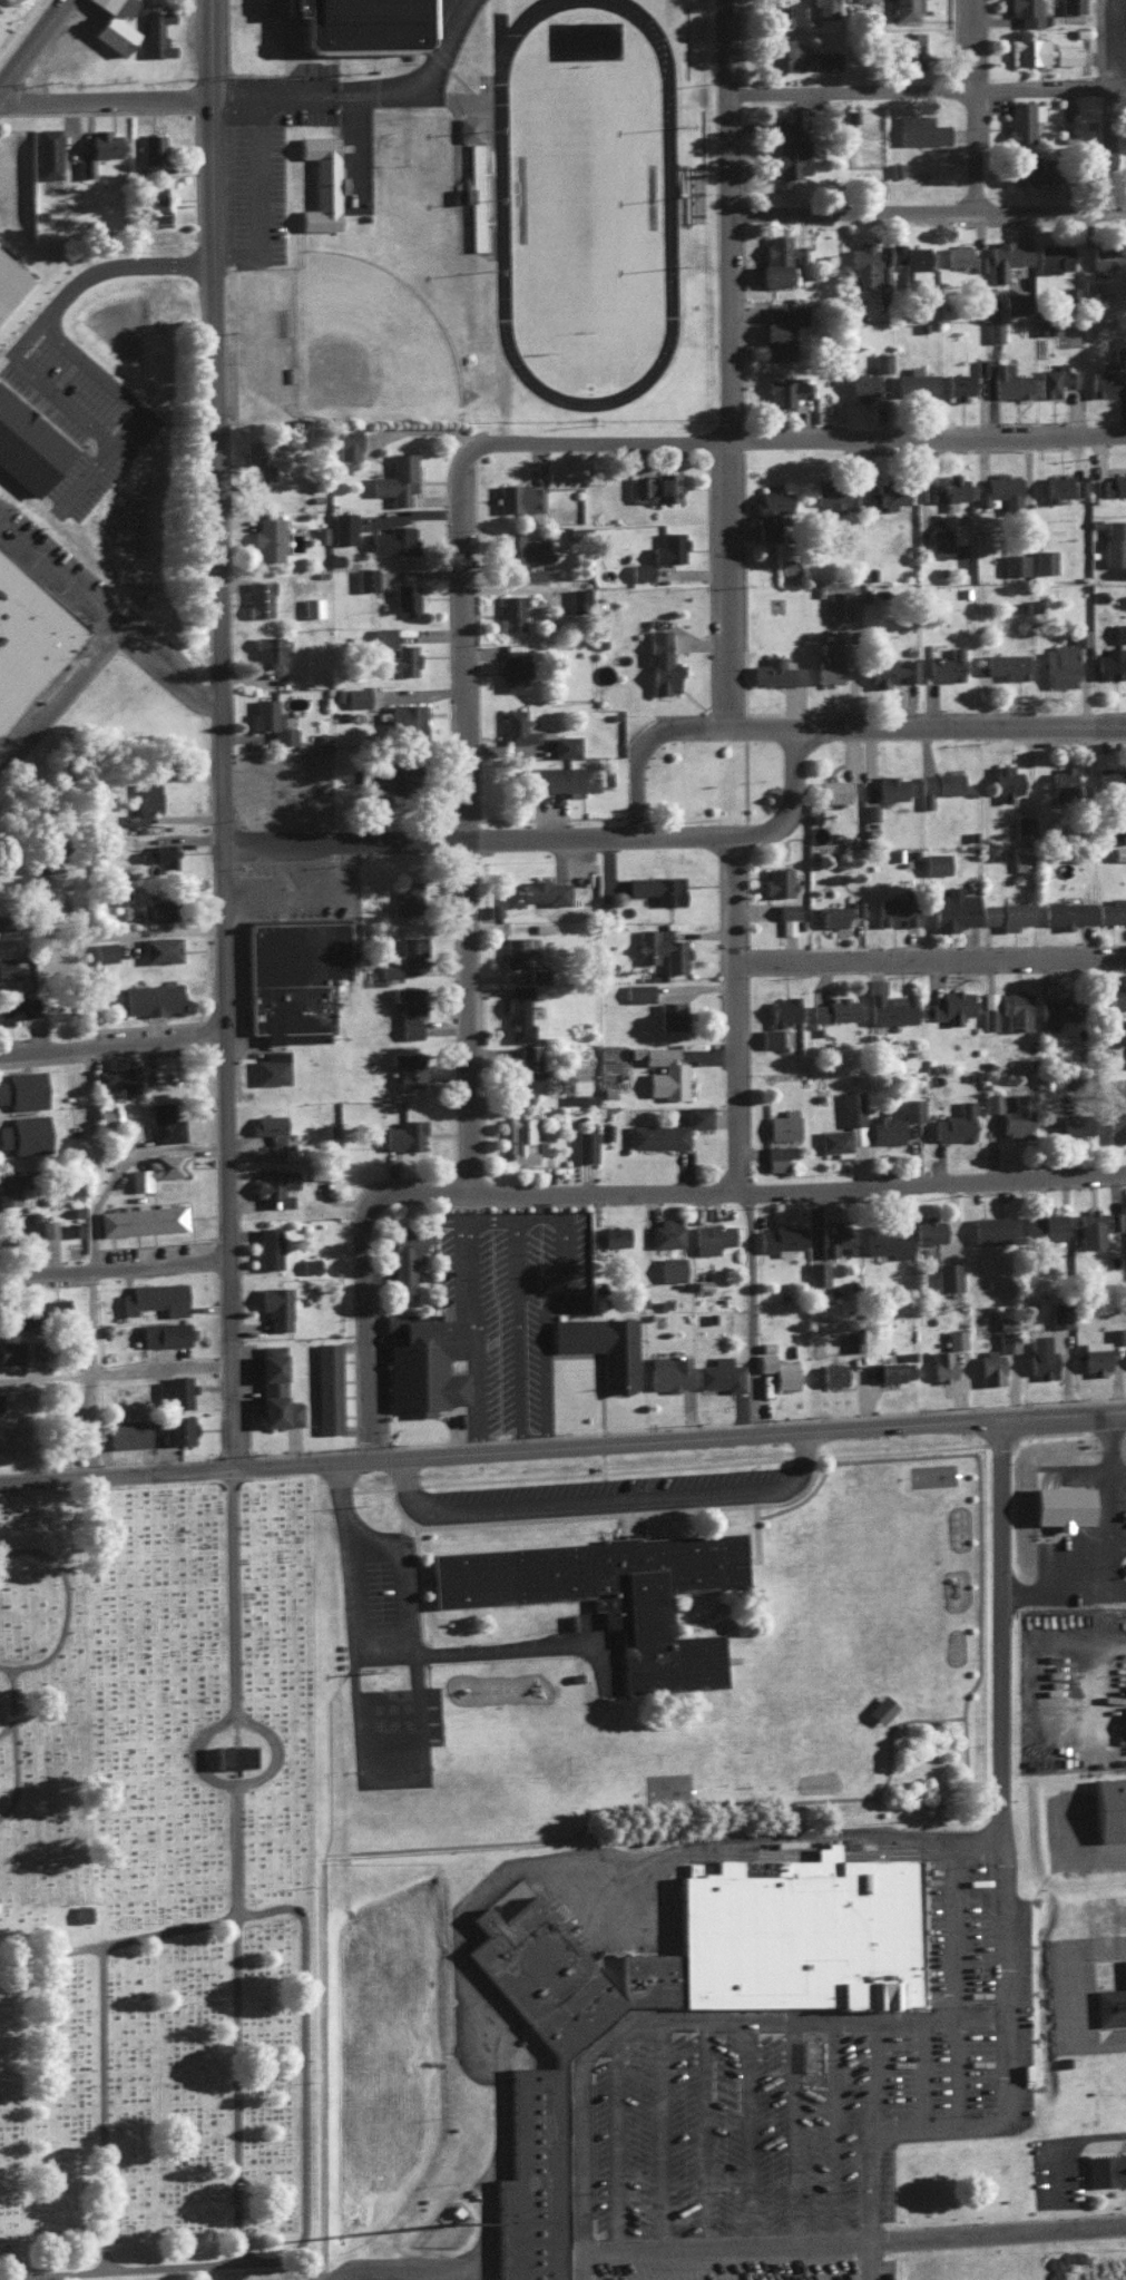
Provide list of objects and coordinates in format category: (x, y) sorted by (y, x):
building: (1070, 6)
building: (824, 8)
building: (905, 9)
building: (784, 11)
building: (1029, 13)
building: (112, 25)
building: (358, 25)
park: (19, 26)
building: (156, 33)
road: (30, 41)
building: (909, 47)
road: (1097, 47)
building: (1029, 48)
building: (785, 52)
building: (1066, 53)
building: (820, 57)
road: (373, 96)
road: (932, 96)
road: (105, 104)
road: (987, 107)
building: (1021, 119)
building: (921, 126)
building: (467, 127)
building: (102, 143)
building: (150, 148)
building: (787, 150)
building: (1099, 150)
building: (47, 153)
building: (85, 167)
building: (1029, 170)
building: (320, 183)
building: (476, 194)
track: (501, 197)
park: (586, 197)
road: (256, 198)
building: (154, 204)
road: (933, 215)
building: (908, 253)
building: (957, 255)
building: (1055, 255)
building: (1006, 257)
building: (1103, 257)
building: (780, 260)
building: (979, 262)
road: (116, 264)
building: (862, 264)
building: (9, 282)
building: (1065, 294)
building: (1012, 302)
building: (781, 326)
building: (993, 331)
park: (380, 343)
building: (881, 360)
road: (742, 364)
building: (980, 364)
building: (1101, 379)
building: (1064, 382)
building: (861, 383)
building: (958, 383)
building: (1007, 384)
building: (917, 385)
building: (789, 391)
road: (110, 438)
road: (849, 441)
building: (347, 442)
building: (27, 443)
building: (253, 462)
building: (395, 474)
building: (1107, 482)
building: (656, 485)
building: (941, 485)
building: (998, 485)
building: (1056, 485)
building: (1078, 486)
building: (831, 493)
building: (883, 493)
building: (520, 496)
building: (773, 510)
building: (341, 526)
building: (319, 532)
building: (266, 536)
building: (938, 537)
building: (391, 538)
building: (1114, 539)
building: (521, 547)
building: (667, 550)
building: (1044, 559)
building: (1014, 562)
building: (639, 569)
building: (531, 573)
building: (365, 577)
building: (404, 597)
building: (257, 598)
building: (578, 599)
building: (848, 600)
building: (311, 605)
building: (511, 608)
road: (111, 623)
building: (1119, 630)
building: (382, 635)
building: (29, 640)
building: (658, 647)
building: (267, 648)
building: (400, 658)
building: (830, 662)
building: (943, 663)
building: (1113, 663)
building: (1003, 664)
building: (1060, 664)
building: (776, 668)
building: (889, 668)
building: (511, 669)
building: (355, 695)
road: (62, 704)
building: (270, 721)
building: (407, 724)
building: (513, 724)
road: (933, 728)
road: (231, 736)
building: (564, 744)
road: (654, 747)
road: (473, 772)
building: (385, 776)
building: (555, 776)
building: (1110, 777)
building: (1005, 781)
building: (1063, 783)
building: (889, 786)
building: (939, 786)
building: (834, 791)
building: (146, 797)
road: (803, 806)
building: (870, 810)
building: (1024, 825)
road: (487, 840)
building: (1110, 842)
building: (158, 854)
building: (1021, 859)
building: (934, 861)
building: (779, 881)
building: (654, 888)
building: (537, 890)
building: (407, 892)
building: (952, 907)
building: (492, 908)
building: (155, 909)
building: (785, 909)
building: (895, 910)
building: (1110, 911)
building: (839, 912)
building: (1066, 914)
building: (1006, 918)
building: (787, 924)
road: (110, 931)
building: (658, 946)
building: (159, 948)
building: (409, 948)
building: (72, 949)
building: (531, 949)
building: (104, 950)
road: (936, 961)
building: (8, 967)
building: (389, 969)
building: (537, 972)
building: (292, 976)
building: (658, 990)
building: (1116, 996)
building: (150, 997)
building: (950, 1004)
building: (404, 1005)
building: (831, 1006)
building: (890, 1007)
building: (1008, 1007)
building: (16, 1008)
building: (783, 1009)
building: (516, 1010)
building: (1063, 1010)
building: (669, 1014)
road: (745, 1014)
building: (1115, 1031)
building: (768, 1036)
road: (110, 1045)
building: (660, 1061)
building: (270, 1066)
building: (405, 1069)
building: (526, 1069)
building: (116, 1077)
building: (21, 1089)
building: (578, 1098)
building: (992, 1100)
building: (850, 1107)
building: (911, 1108)
building: (104, 1114)
road: (88, 1115)
building: (1017, 1117)
building: (1116, 1119)
building: (164, 1122)
building: (266, 1122)
building: (782, 1122)
building: (1073, 1124)
building: (893, 1125)
building: (953, 1126)
building: (604, 1129)
building: (22, 1134)
building: (403, 1134)
building: (663, 1136)
building: (530, 1139)
building: (834, 1141)
building: (584, 1145)
building: (775, 1156)
building: (157, 1168)
building: (326, 1168)
building: (281, 1185)
building: (10, 1186)
road: (803, 1187)
building: (149, 1219)
building: (1113, 1220)
building: (988, 1225)
building: (1041, 1225)
building: (22, 1226)
building: (49, 1226)
building: (1089, 1227)
building: (927, 1229)
building: (666, 1230)
building: (613, 1233)
building: (831, 1236)
building: (779, 1239)
building: (709, 1240)
building: (882, 1243)
building: (268, 1244)
building: (403, 1259)
road: (91, 1263)
building: (309, 1264)
building: (670, 1266)
road: (115, 1268)
building: (816, 1272)
building: (947, 1275)
road: (373, 1283)
building: (150, 1299)
building: (52, 1305)
building: (275, 1308)
building: (1058, 1314)
road: (750, 1315)
building: (12, 1317)
road: (489, 1325)
building: (1116, 1333)
building: (166, 1337)
building: (954, 1337)
building: (1003, 1340)
building: (850, 1343)
building: (601, 1346)
building: (28, 1348)
building: (1040, 1352)
building: (1094, 1356)
building: (423, 1362)
building: (942, 1366)
building: (992, 1367)
building: (888, 1369)
building: (669, 1371)
road: (115, 1372)
building: (718, 1372)
building: (831, 1372)
building: (785, 1373)
building: (270, 1384)
building: (326, 1386)
building: (176, 1392)
building: (178, 1427)
building: (133, 1430)
road: (685, 1445)
road: (121, 1477)
road: (617, 1505)
building: (626, 1593)
road: (245, 1596)
road: (78, 1609)
road: (403, 1654)
building: (880, 1709)
road: (26, 1719)
building: (247, 1757)
road: (27, 1785)
building: (1117, 1807)
road: (1074, 1858)
road: (557, 1869)
road: (620, 1886)
park: (167, 1888)
road: (1015, 1892)
building: (80, 1911)
road: (246, 1911)
building: (814, 1932)
road: (965, 1934)
building: (558, 1977)
building: (664, 1978)
road: (1083, 1995)
building: (1117, 2006)
road: (991, 2023)
road: (664, 2026)
road: (969, 2073)
road: (937, 2074)
road: (890, 2077)
road: (316, 2081)
parking lot: (802, 2108)
road: (117, 2112)
road: (848, 2135)
road: (761, 2136)
road: (803, 2136)
road: (718, 2137)
road: (669, 2139)
road: (1096, 2142)
road: (628, 2145)
building: (1113, 2172)
road: (1070, 2176)
building: (547, 2178)
road: (1123, 2227)
road: (993, 2235)
road: (730, 2249)
road: (869, 2261)
road: (421, 2271)
building: (261, 2278)

